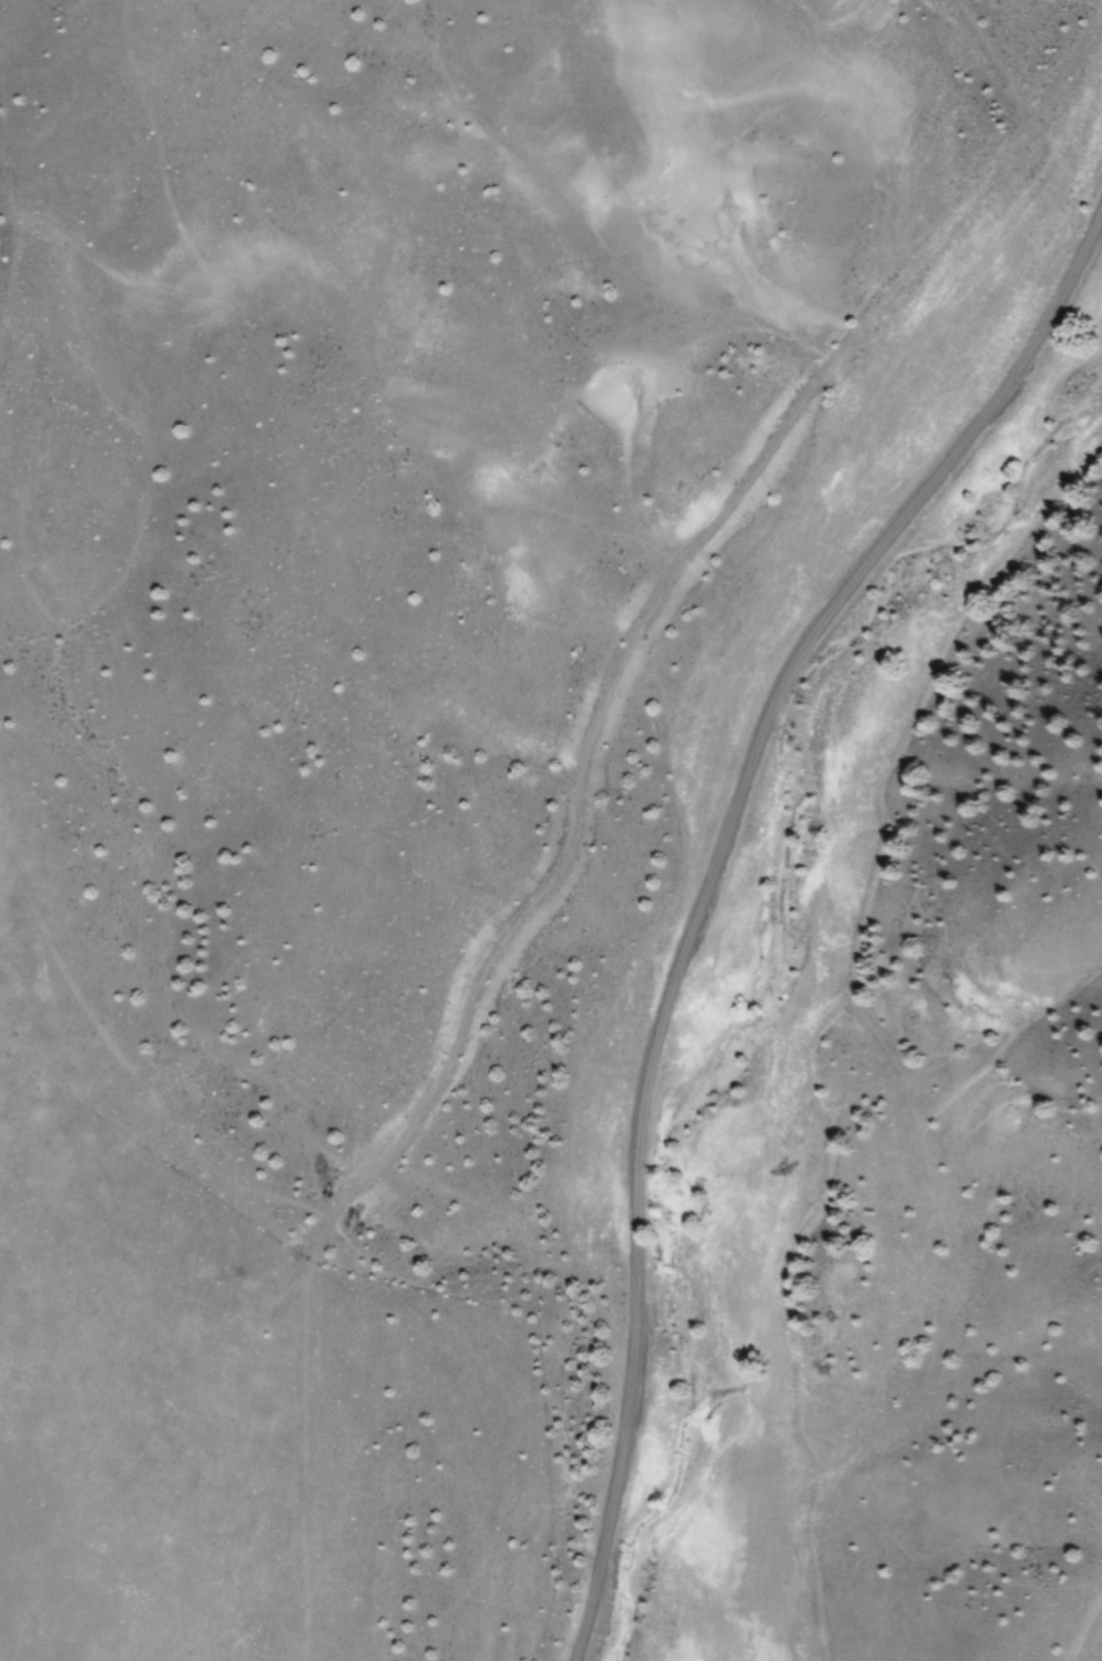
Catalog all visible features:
road: (706, 884)

